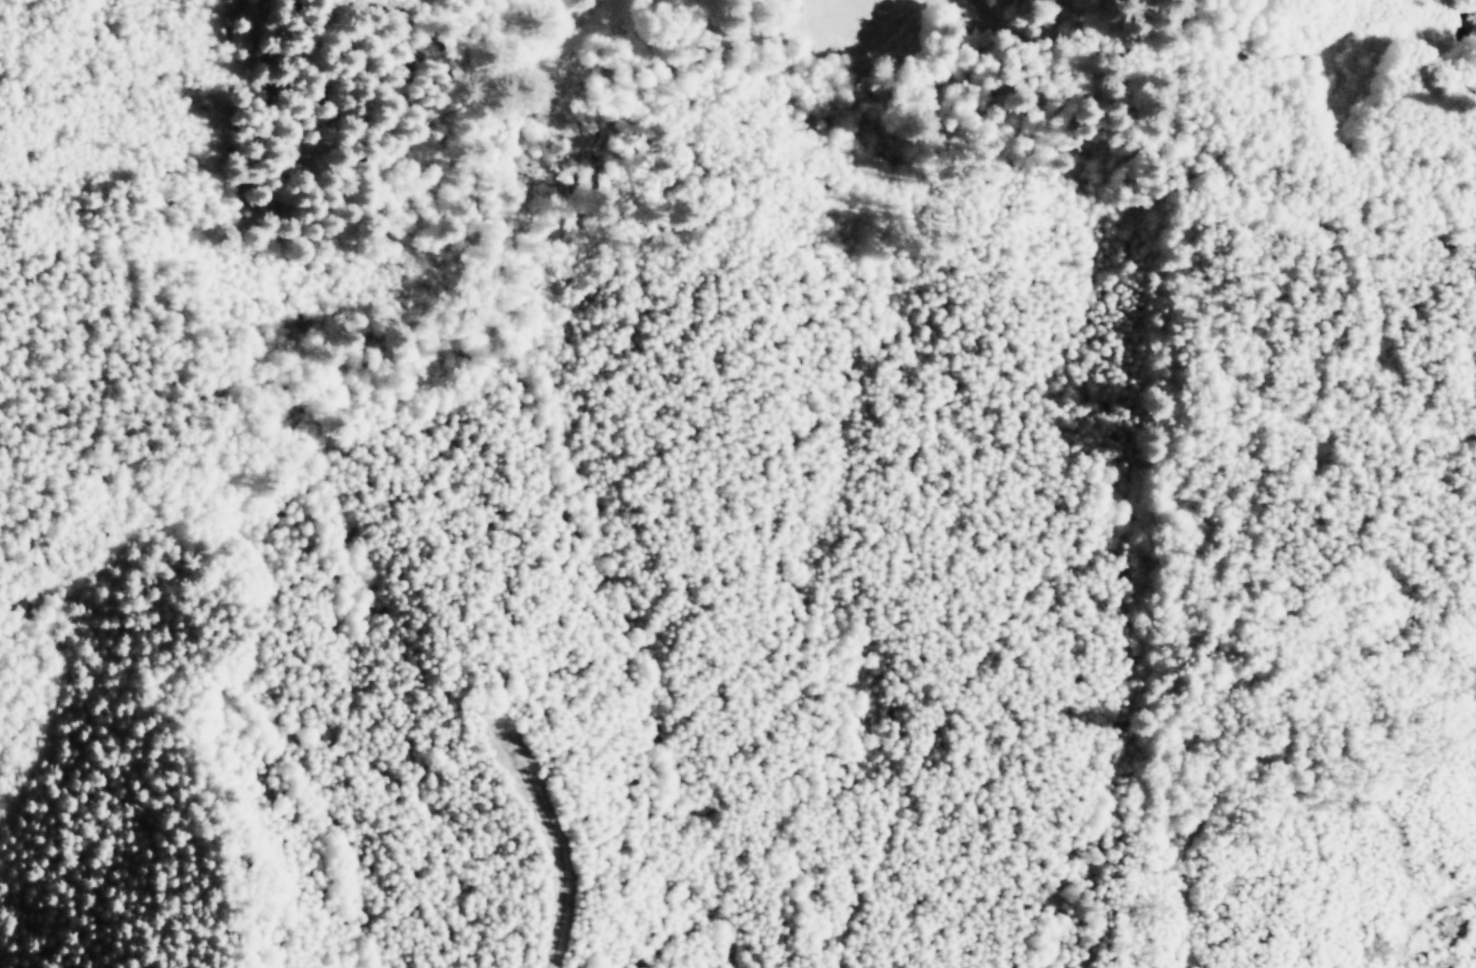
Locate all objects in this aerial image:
road: (1066, 565)

